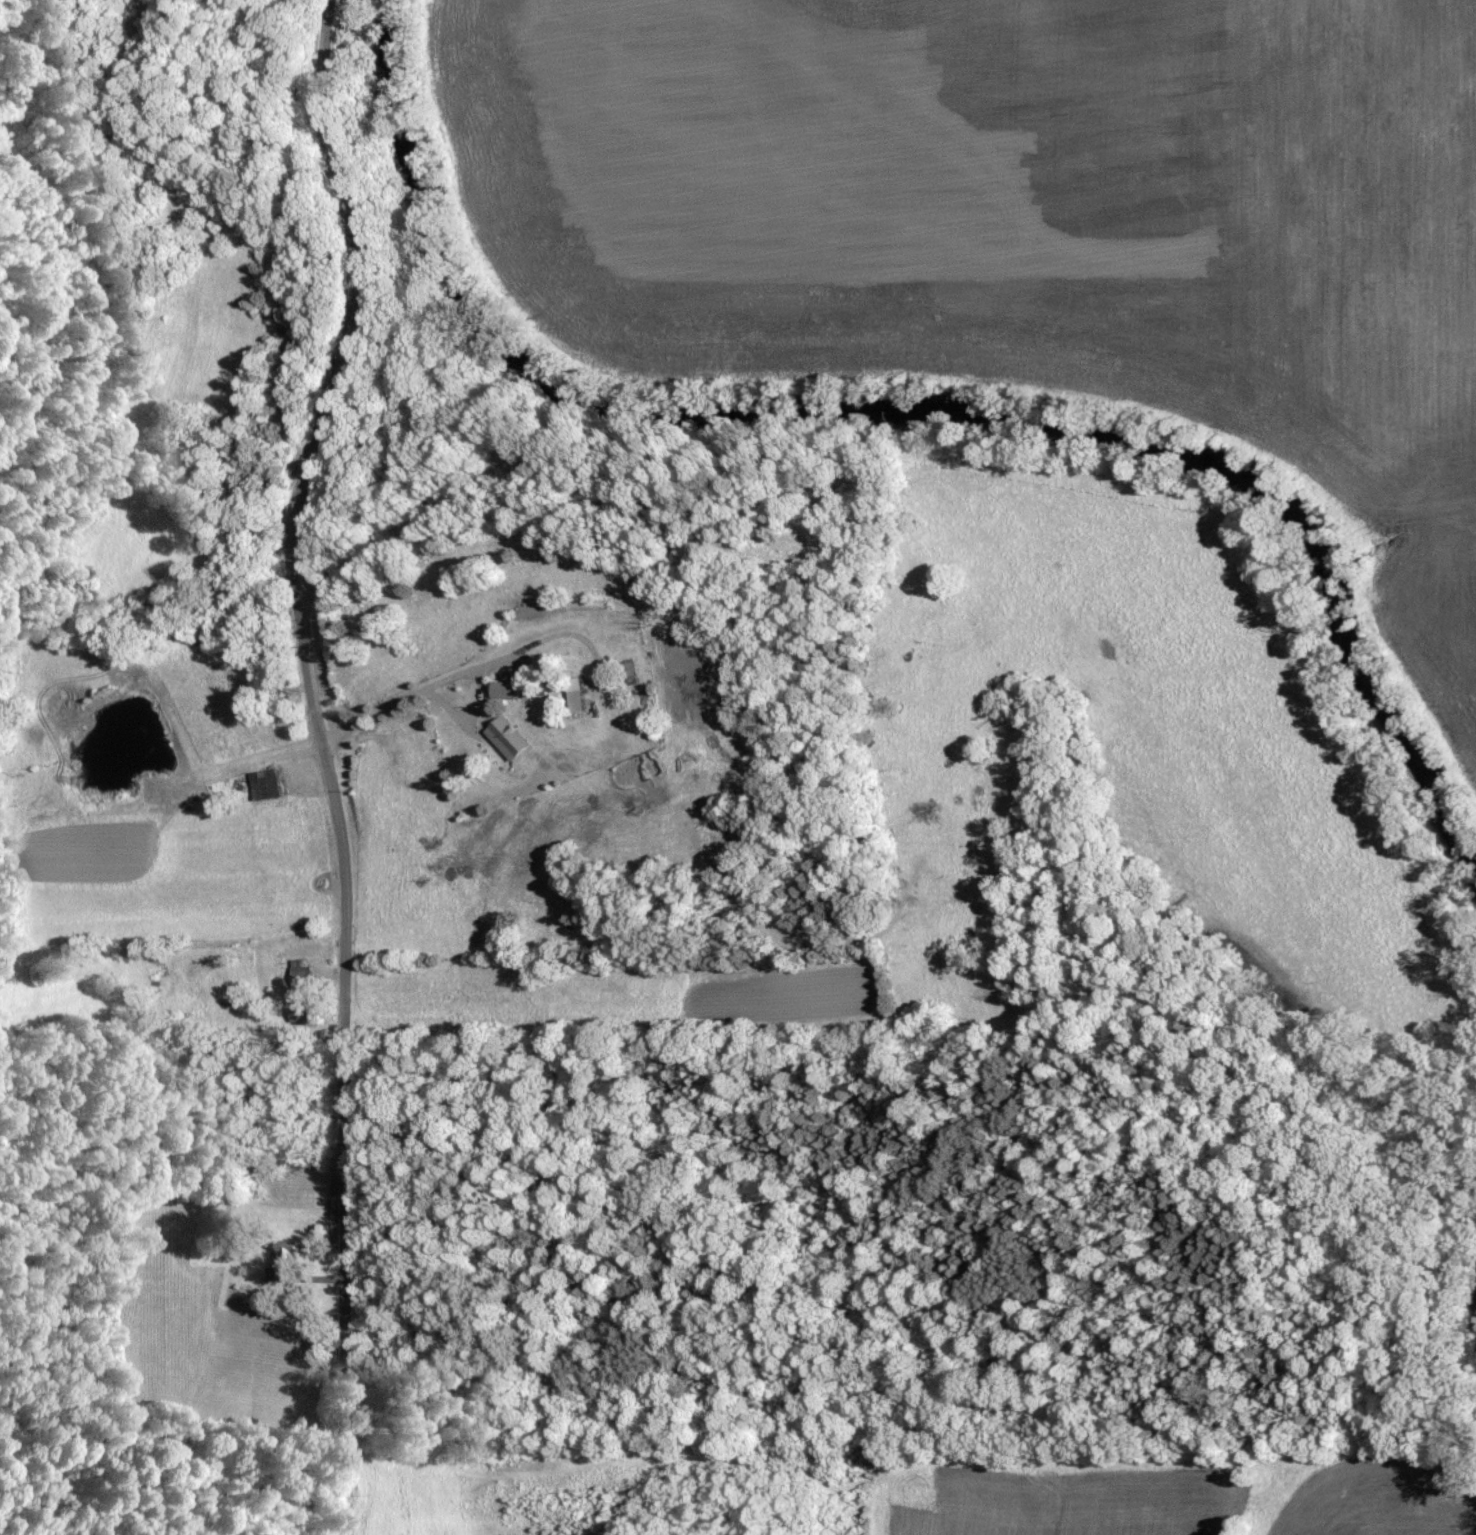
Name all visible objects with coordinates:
river: (903, 394)
building: (631, 672)
building: (508, 689)
road: (414, 690)
building: (580, 693)
building: (508, 739)
road: (327, 761)
building: (268, 784)
building: (302, 973)
building: (301, 1013)
building: (282, 1258)

